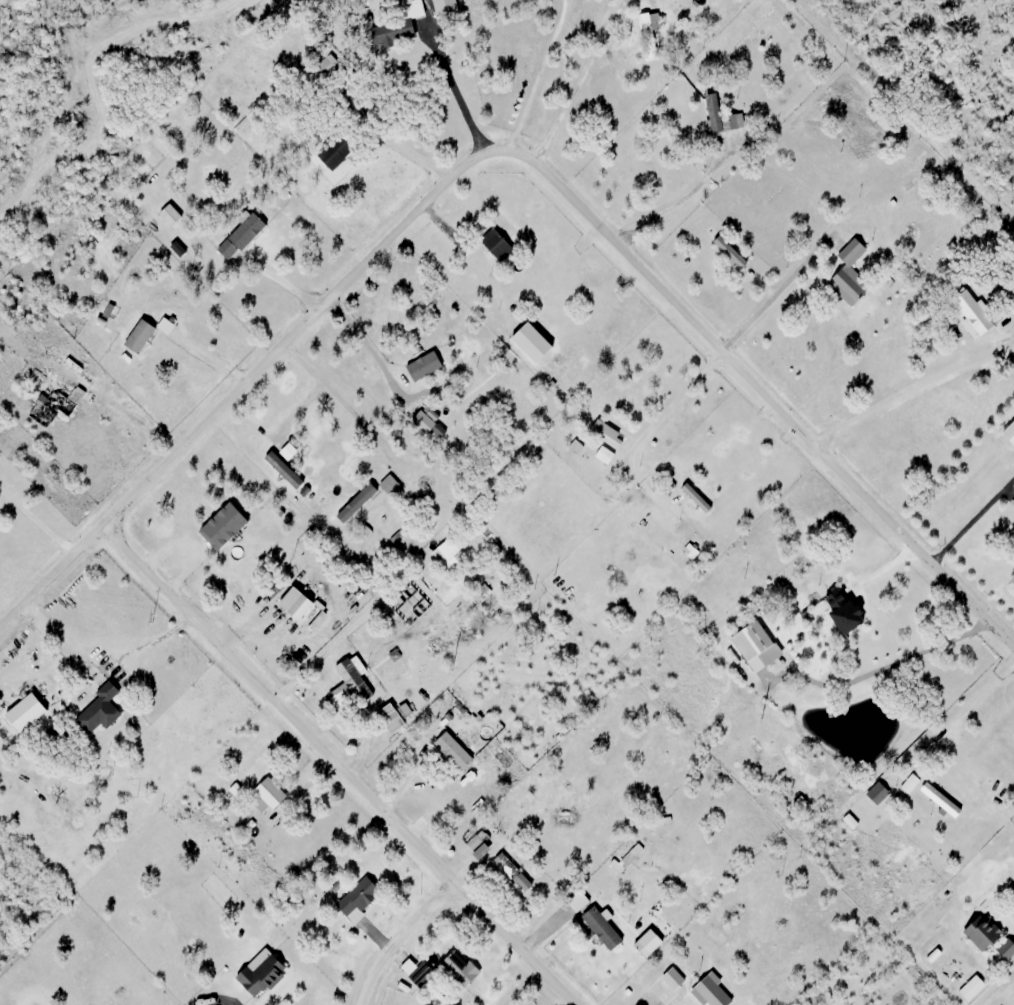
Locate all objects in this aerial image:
building: (399, 27)
building: (650, 34)
building: (717, 116)
building: (337, 151)
building: (172, 215)
building: (242, 237)
building: (500, 244)
building: (727, 251)
building: (848, 281)
road: (319, 310)
building: (970, 311)
building: (146, 334)
building: (425, 366)
building: (52, 408)
building: (1008, 432)
building: (610, 433)
building: (390, 484)
building: (698, 498)
building: (357, 502)
building: (1012, 504)
building: (226, 526)
building: (451, 559)
road: (57, 571)
power tower: (153, 618)
building: (758, 646)
power tower: (452, 664)
building: (367, 679)
building: (100, 710)
power tower: (764, 714)
building: (455, 750)
building: (879, 793)
building: (271, 796)
building: (943, 800)
building: (478, 844)
building: (514, 872)
building: (361, 898)
building: (597, 927)
building: (978, 931)
road: (401, 939)
building: (999, 953)
building: (461, 969)
building: (265, 974)
building: (669, 977)
building: (675, 1000)
building: (849, 1004)

